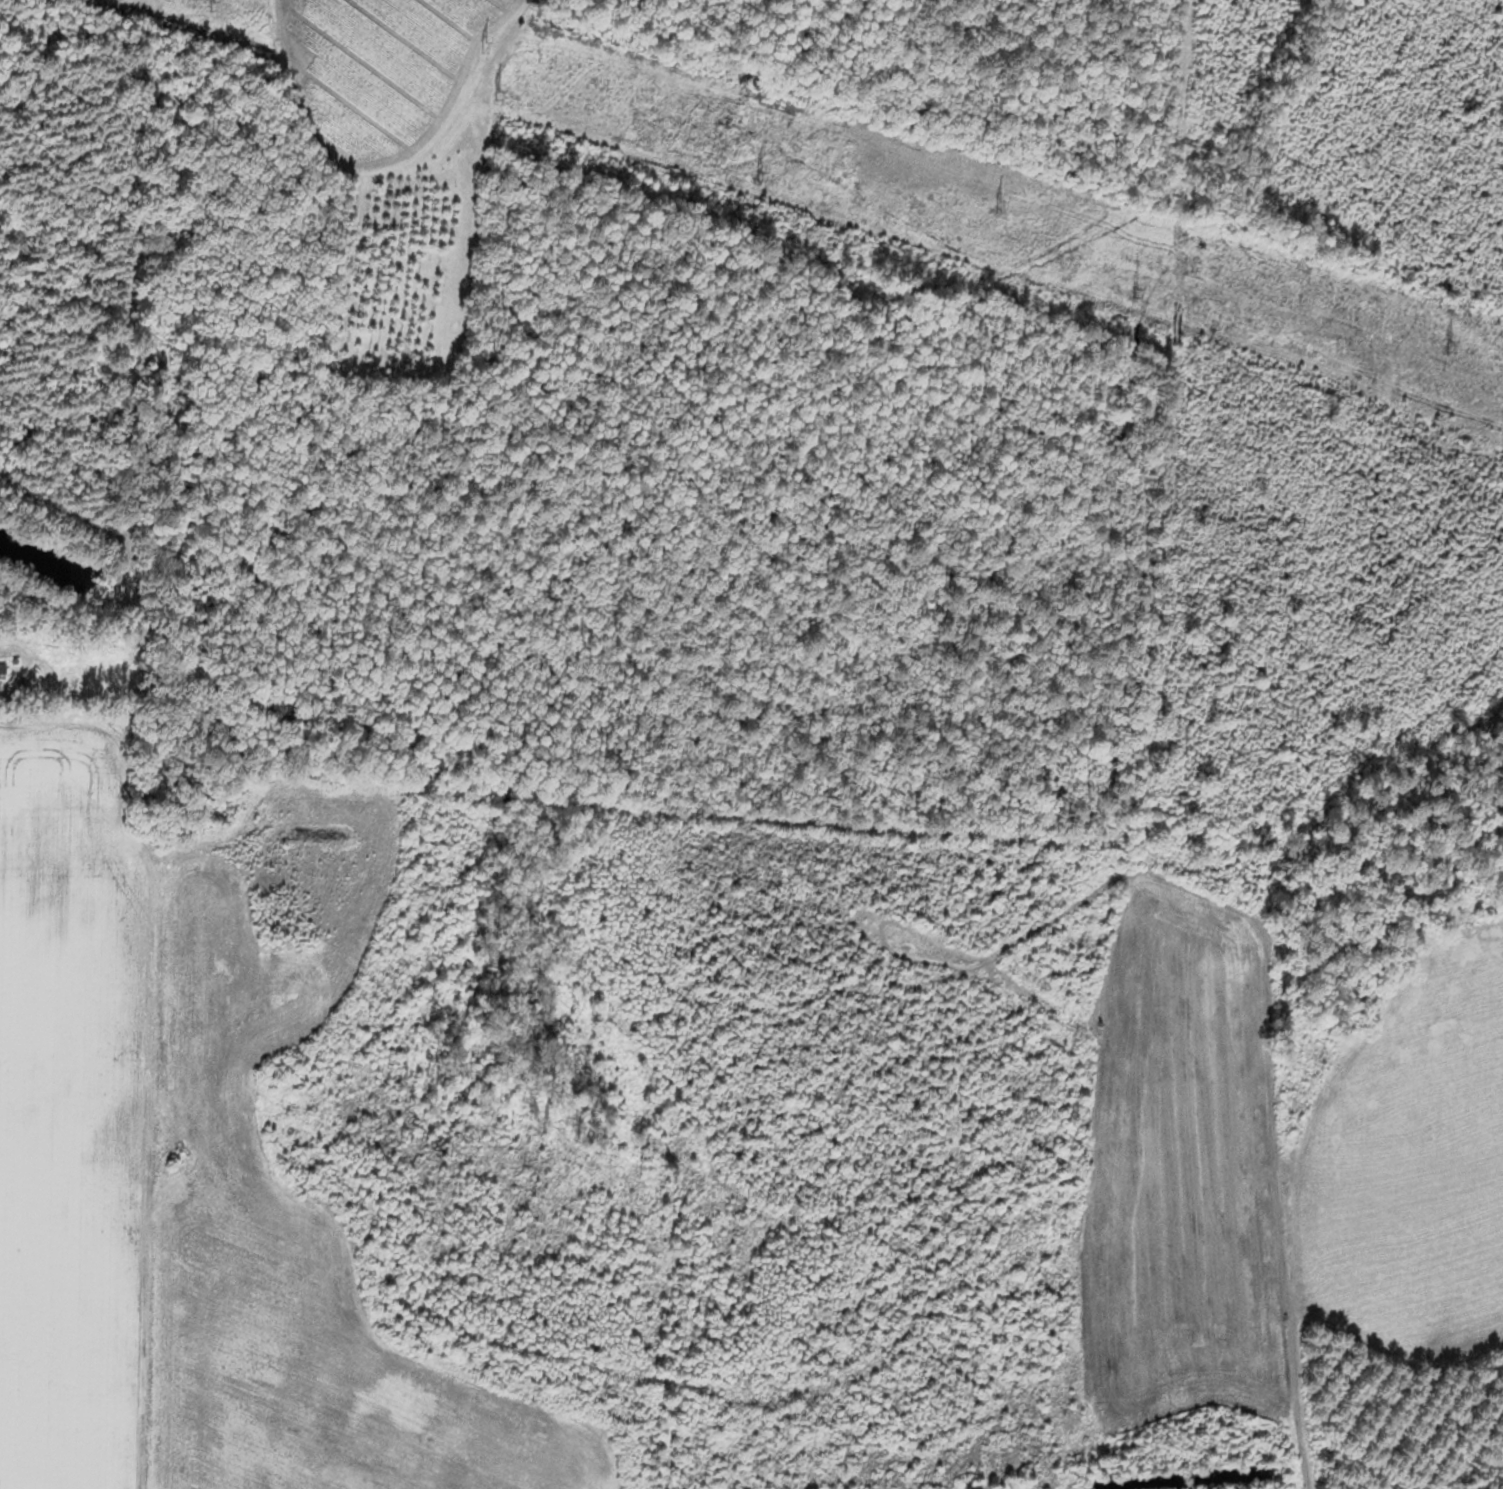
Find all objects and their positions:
power tower: (504, 44)
power tower: (1022, 205)
power tower: (1444, 345)

